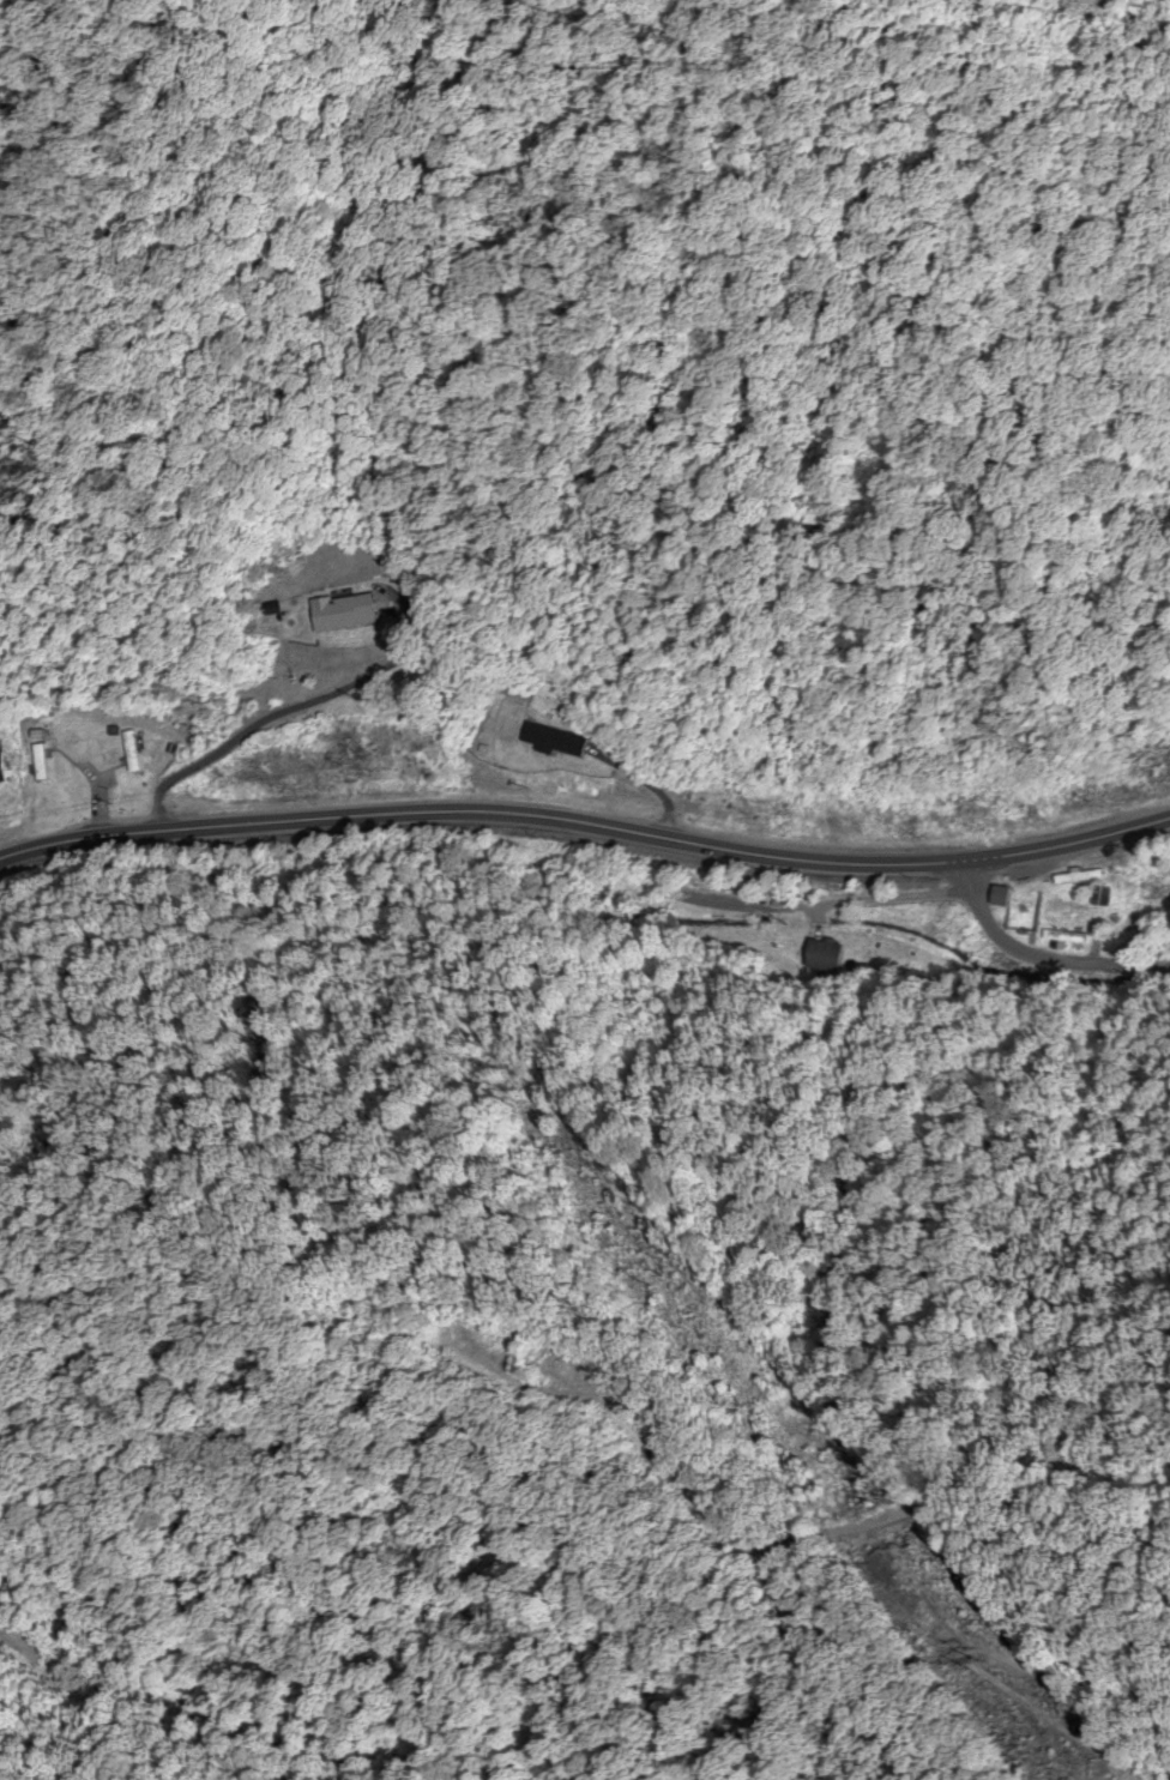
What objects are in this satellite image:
building: (339, 613)
road: (283, 711)
building: (551, 742)
building: (131, 753)
building: (38, 762)
building: (0, 770)
road: (586, 828)
road: (837, 906)
road: (1039, 953)
building: (825, 957)

